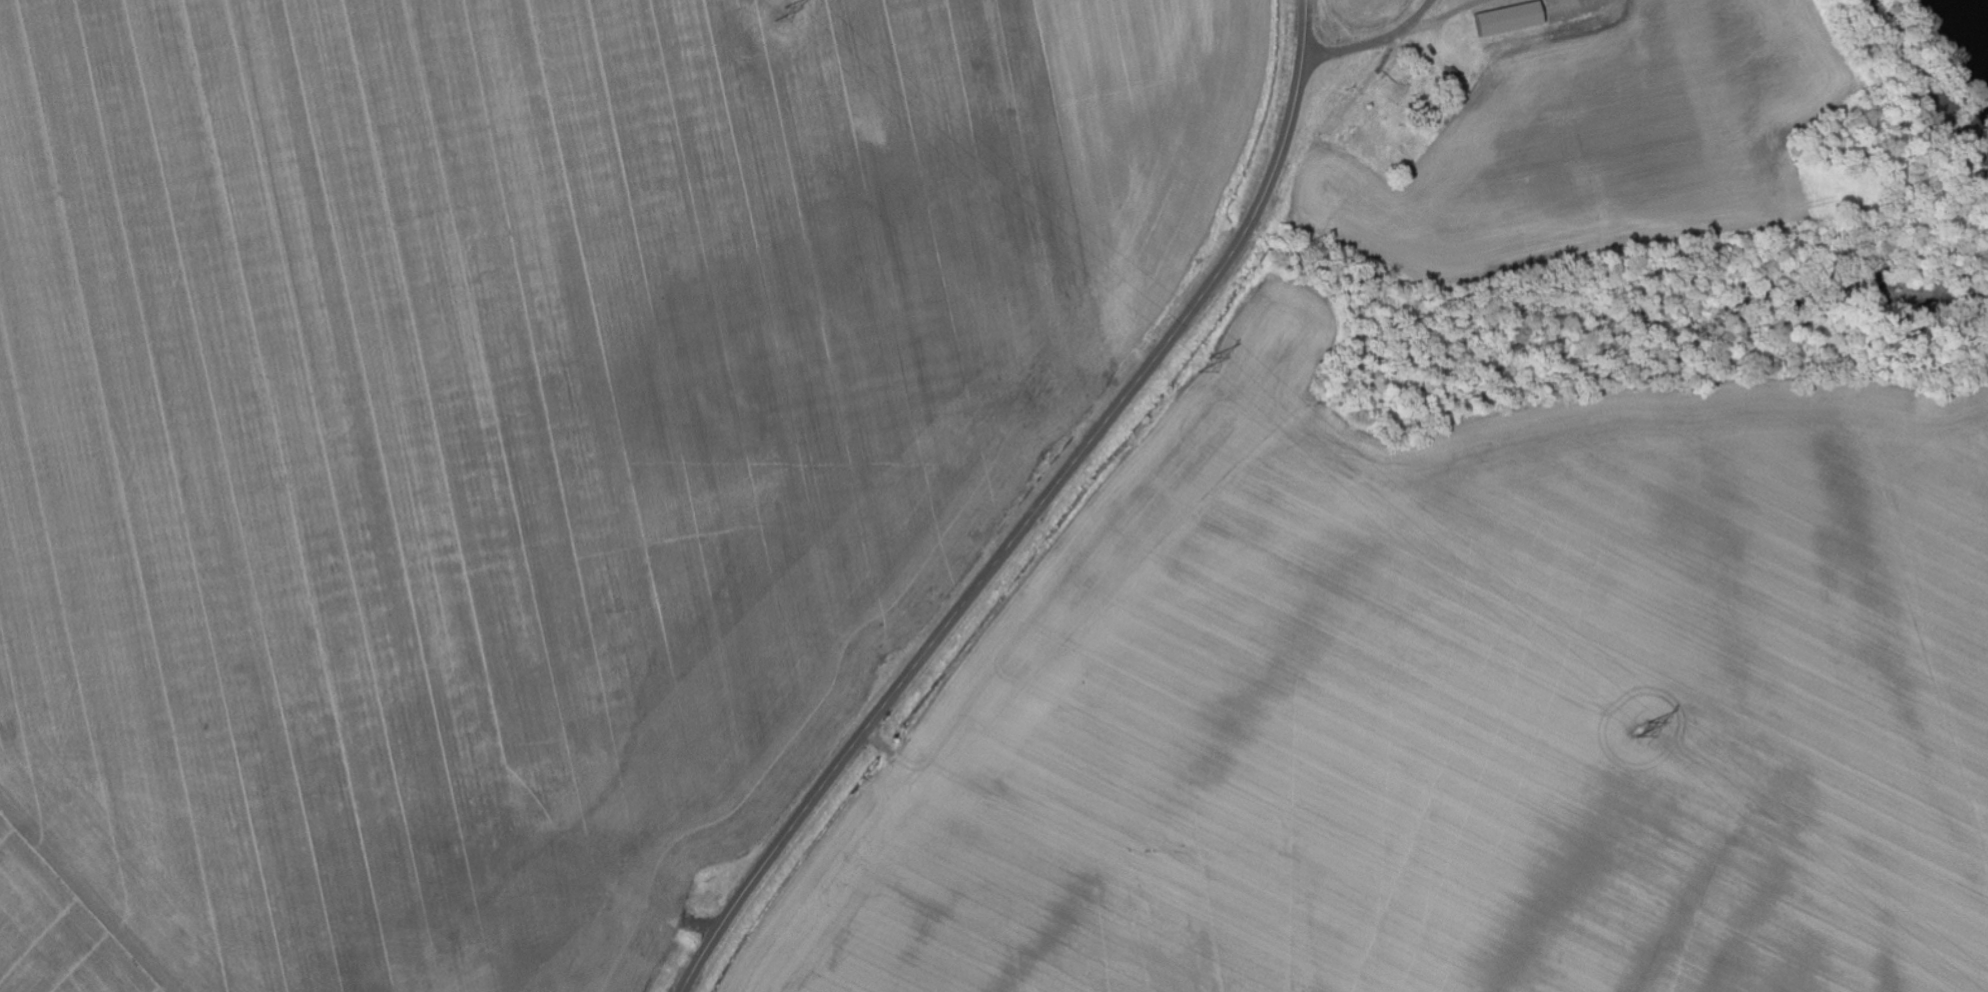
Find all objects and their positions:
power tower: (781, 13)
river: (1974, 19)
building: (1514, 21)
road: (1375, 43)
power tower: (1208, 365)
road: (1035, 513)
power tower: (1640, 732)

